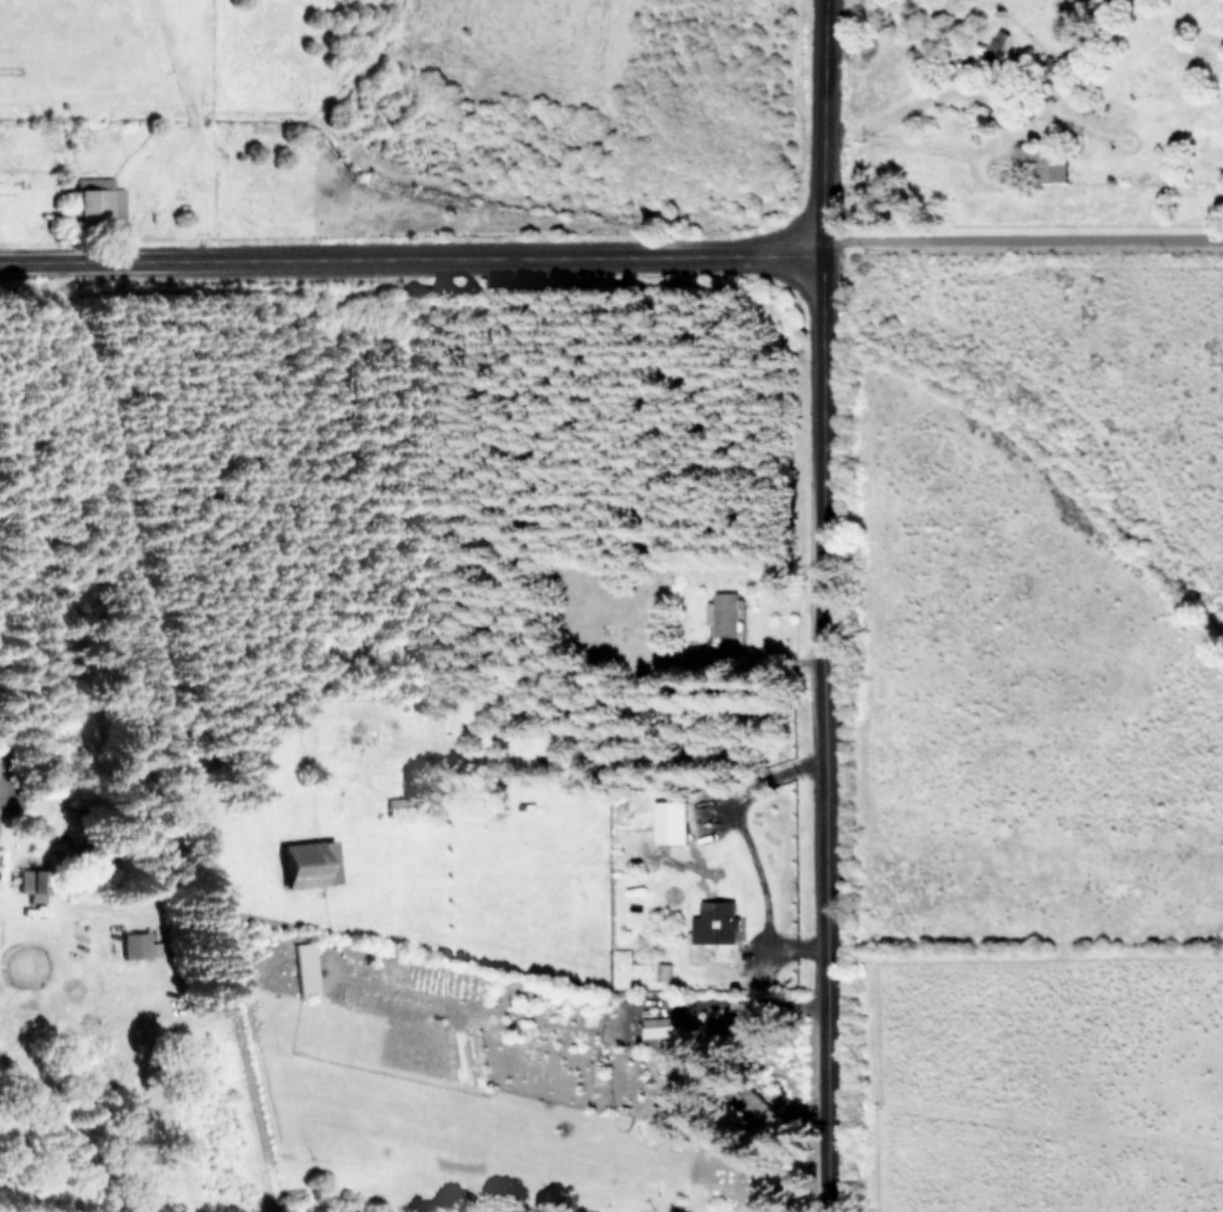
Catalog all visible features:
road: (993, 144)
building: (1039, 162)
building: (96, 197)
road: (1014, 240)
road: (403, 248)
road: (811, 605)
building: (723, 613)
building: (695, 652)
building: (667, 820)
building: (307, 863)
building: (30, 884)
building: (713, 921)
building: (133, 944)
building: (304, 968)
building: (663, 1034)

